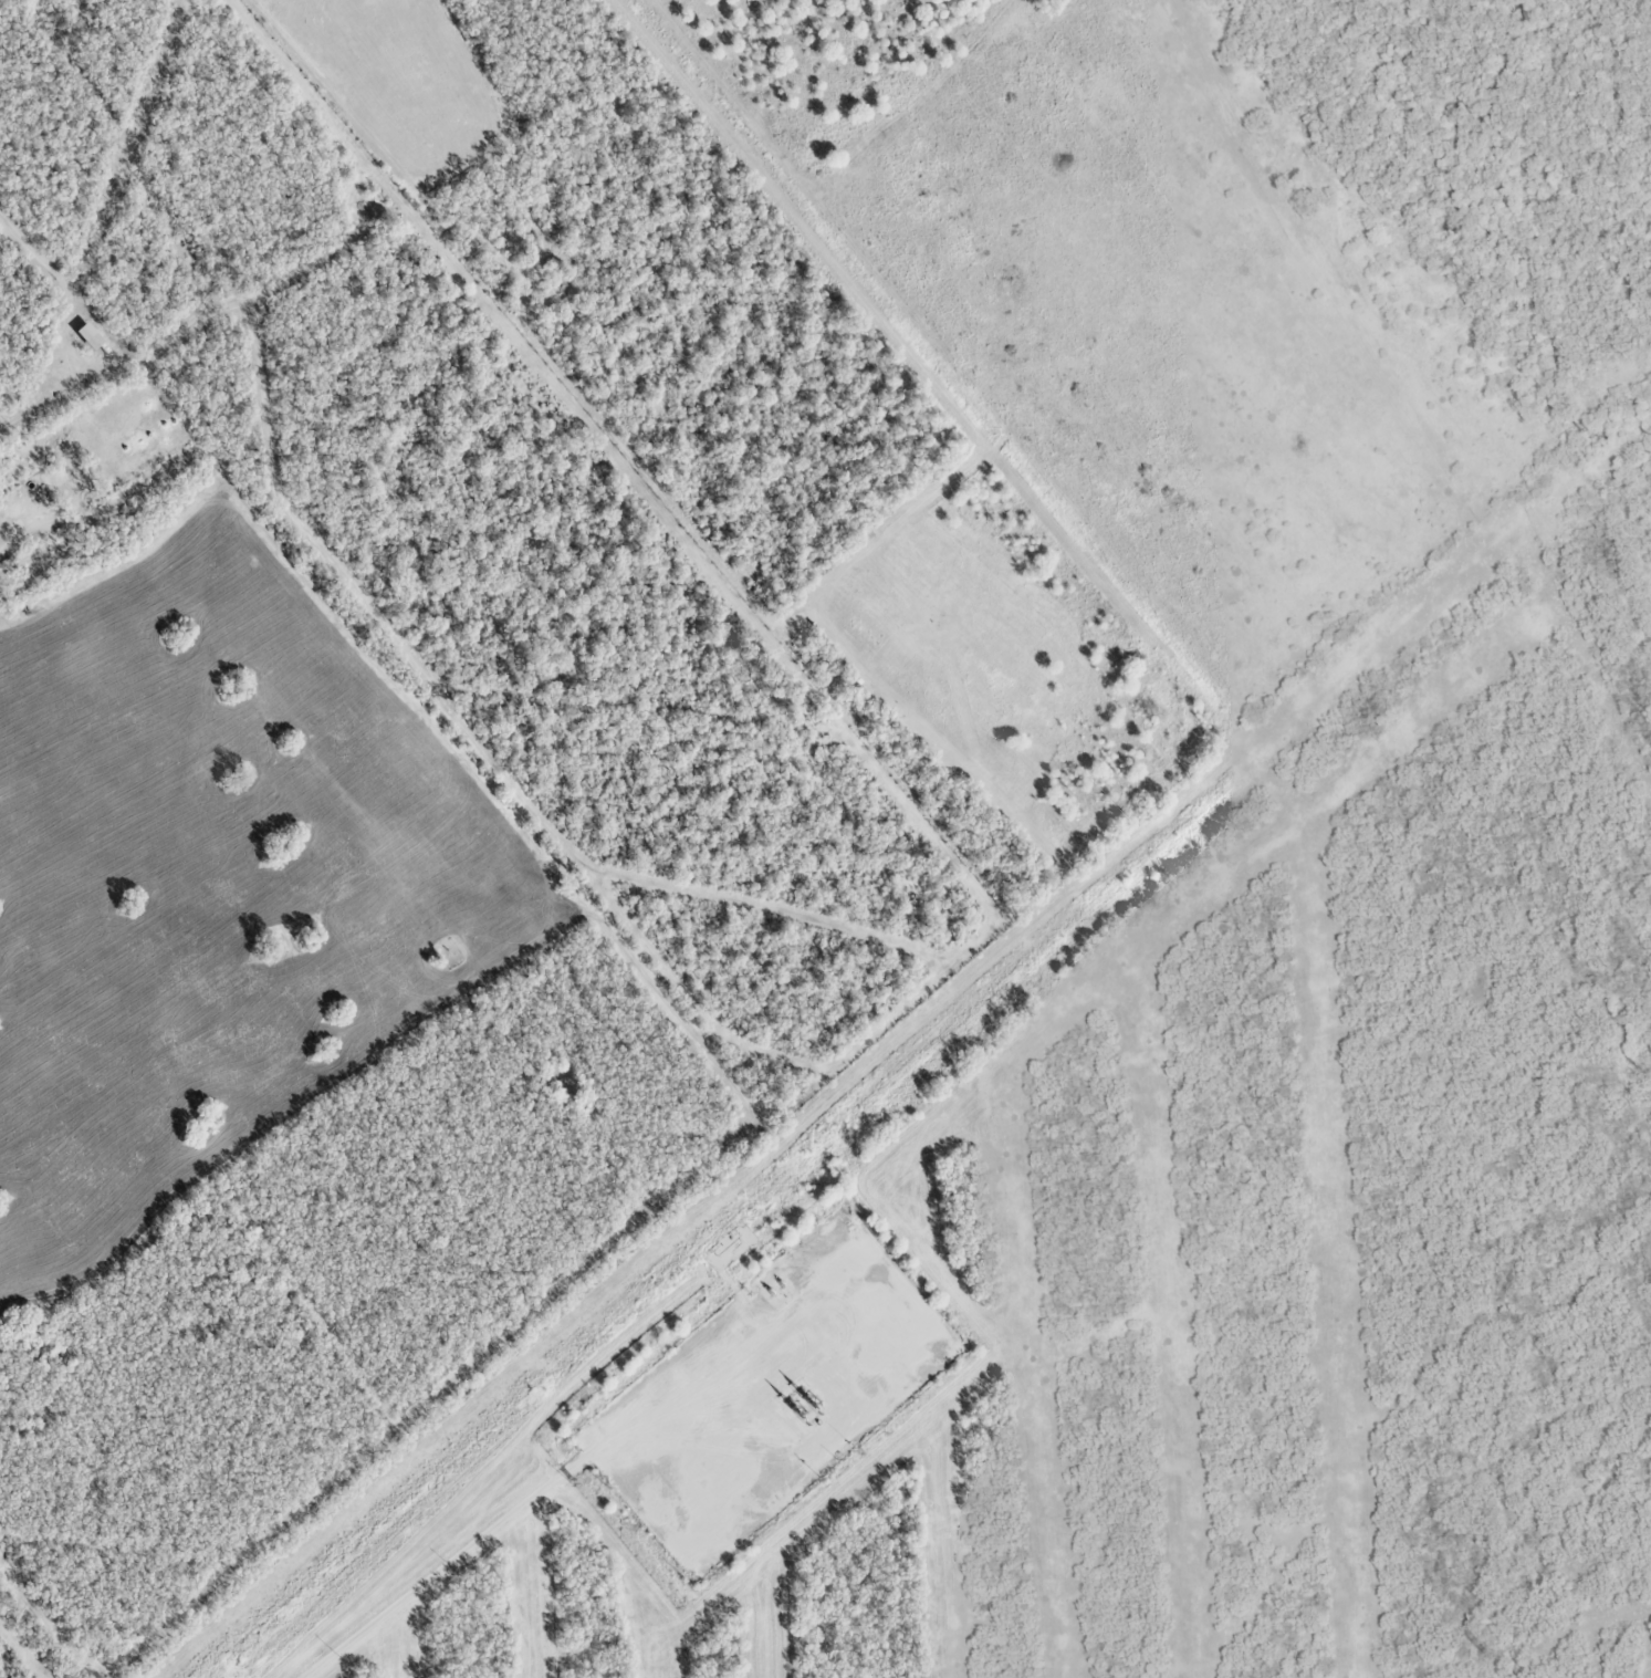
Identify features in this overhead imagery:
building: (86, 336)
road: (451, 1551)

